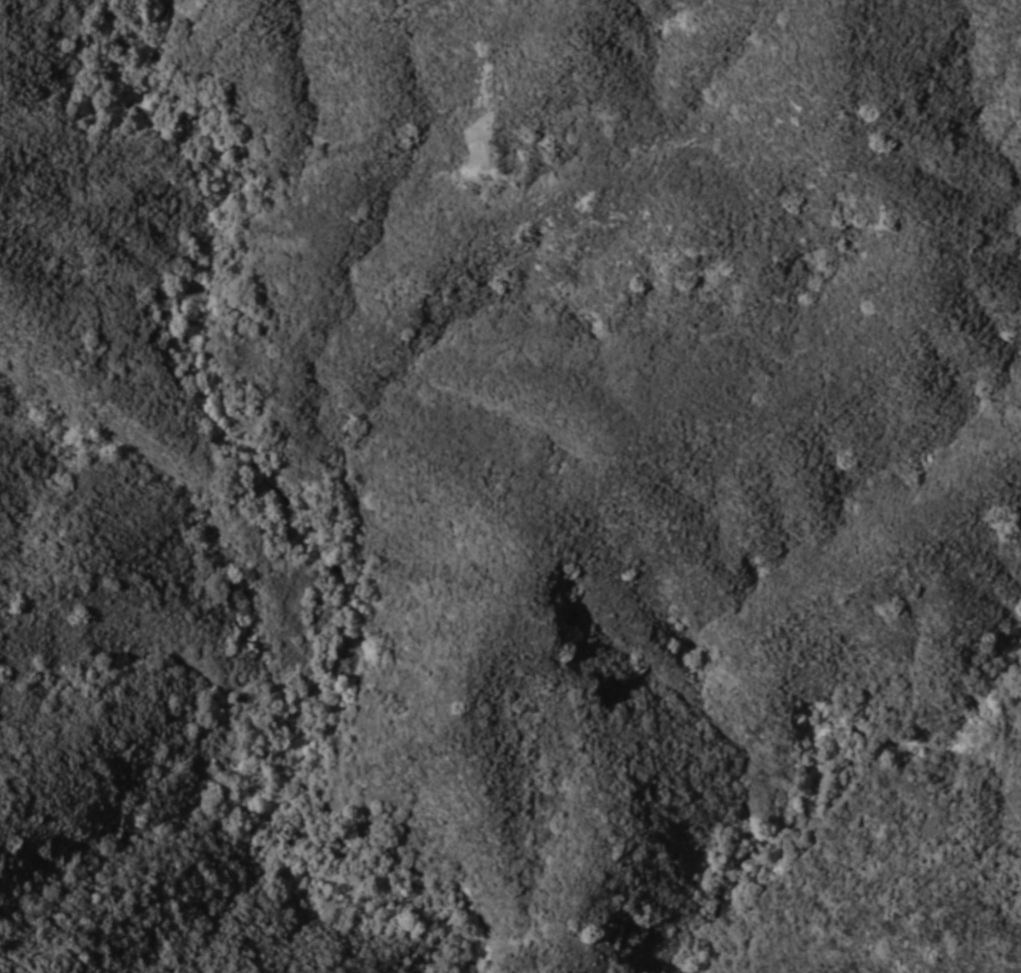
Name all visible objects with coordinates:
road: (48, 948)

